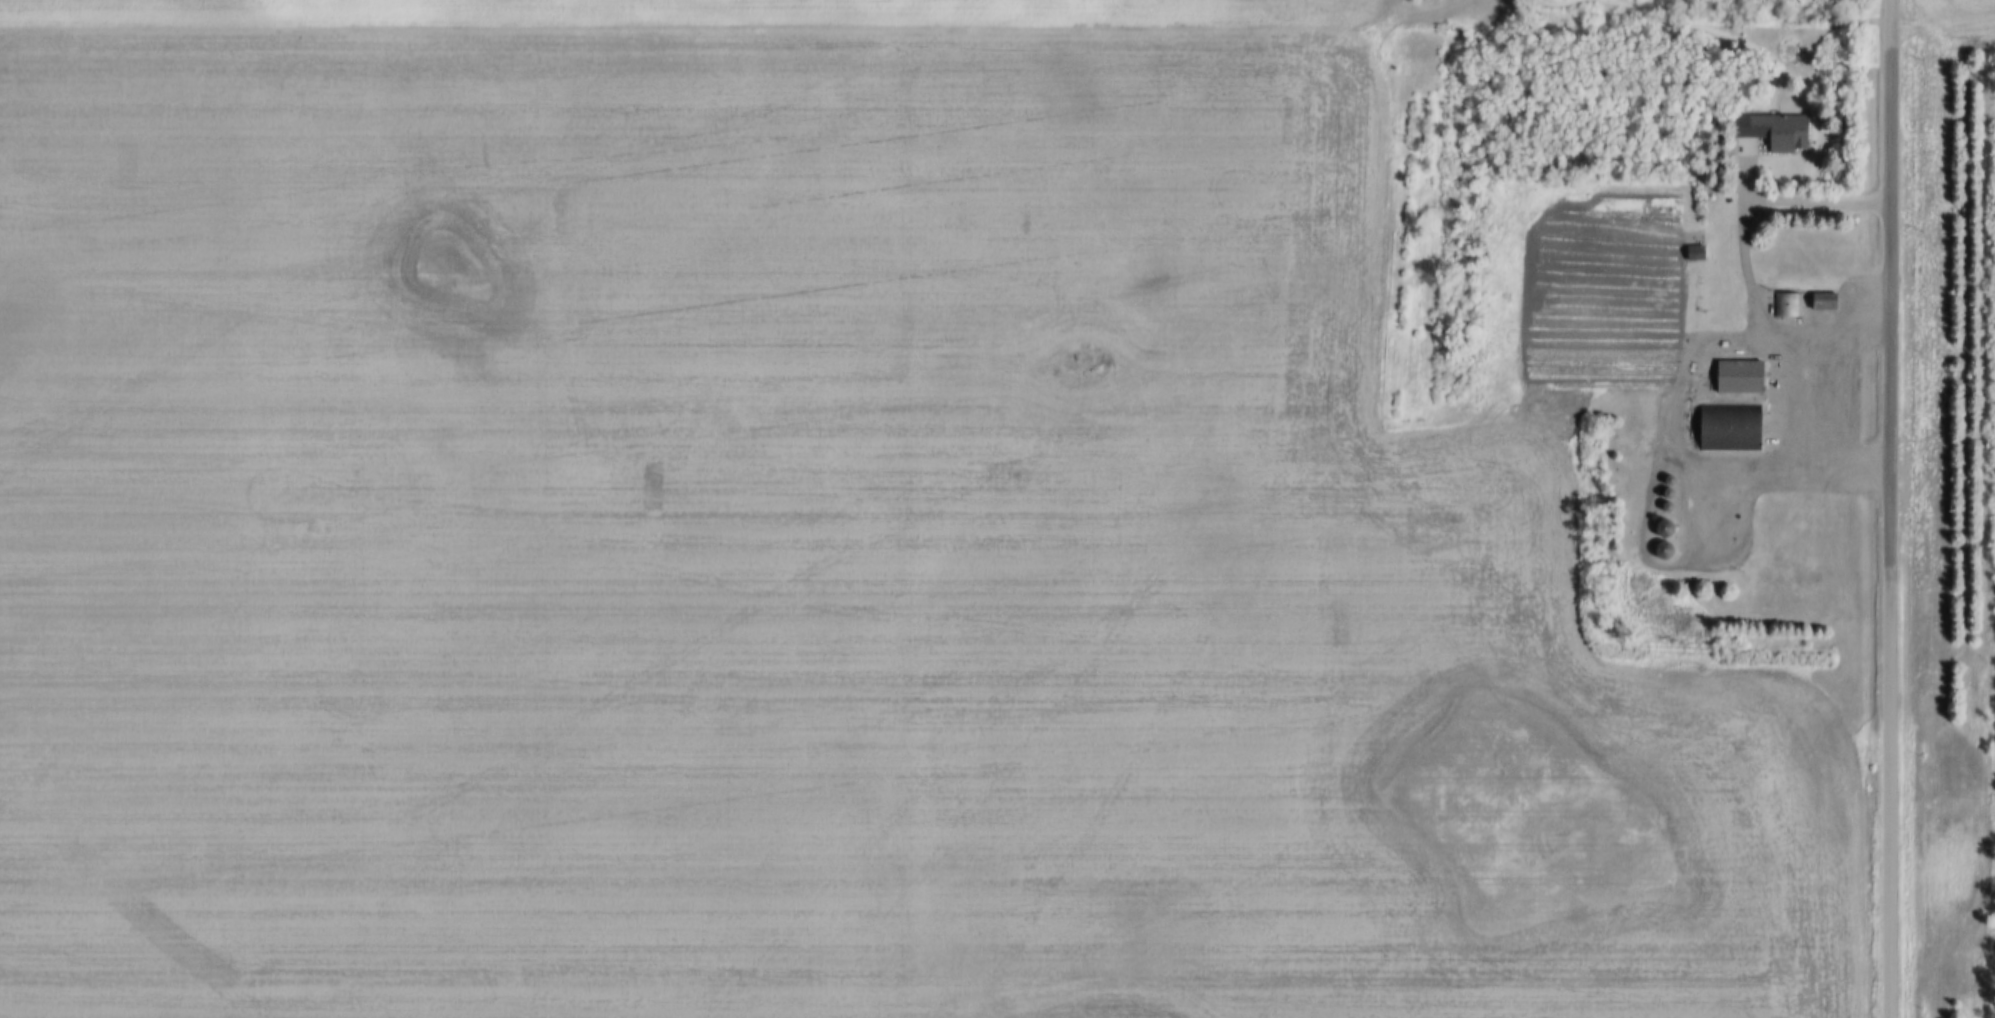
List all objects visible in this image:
road: (1942, 39)
building: (1783, 126)
road: (1792, 204)
building: (1702, 233)
building: (1828, 296)
building: (1793, 301)
building: (1743, 373)
road: (1848, 394)
building: (1735, 423)
building: (1674, 475)
silo: (1674, 475)
building: (1672, 489)
silo: (1672, 489)
building: (1672, 502)
silo: (1672, 502)
road: (1890, 508)
building: (1669, 524)
silo: (1669, 524)
building: (1662, 529)
building: (1667, 546)
silo: (1667, 546)
building: (1661, 551)

